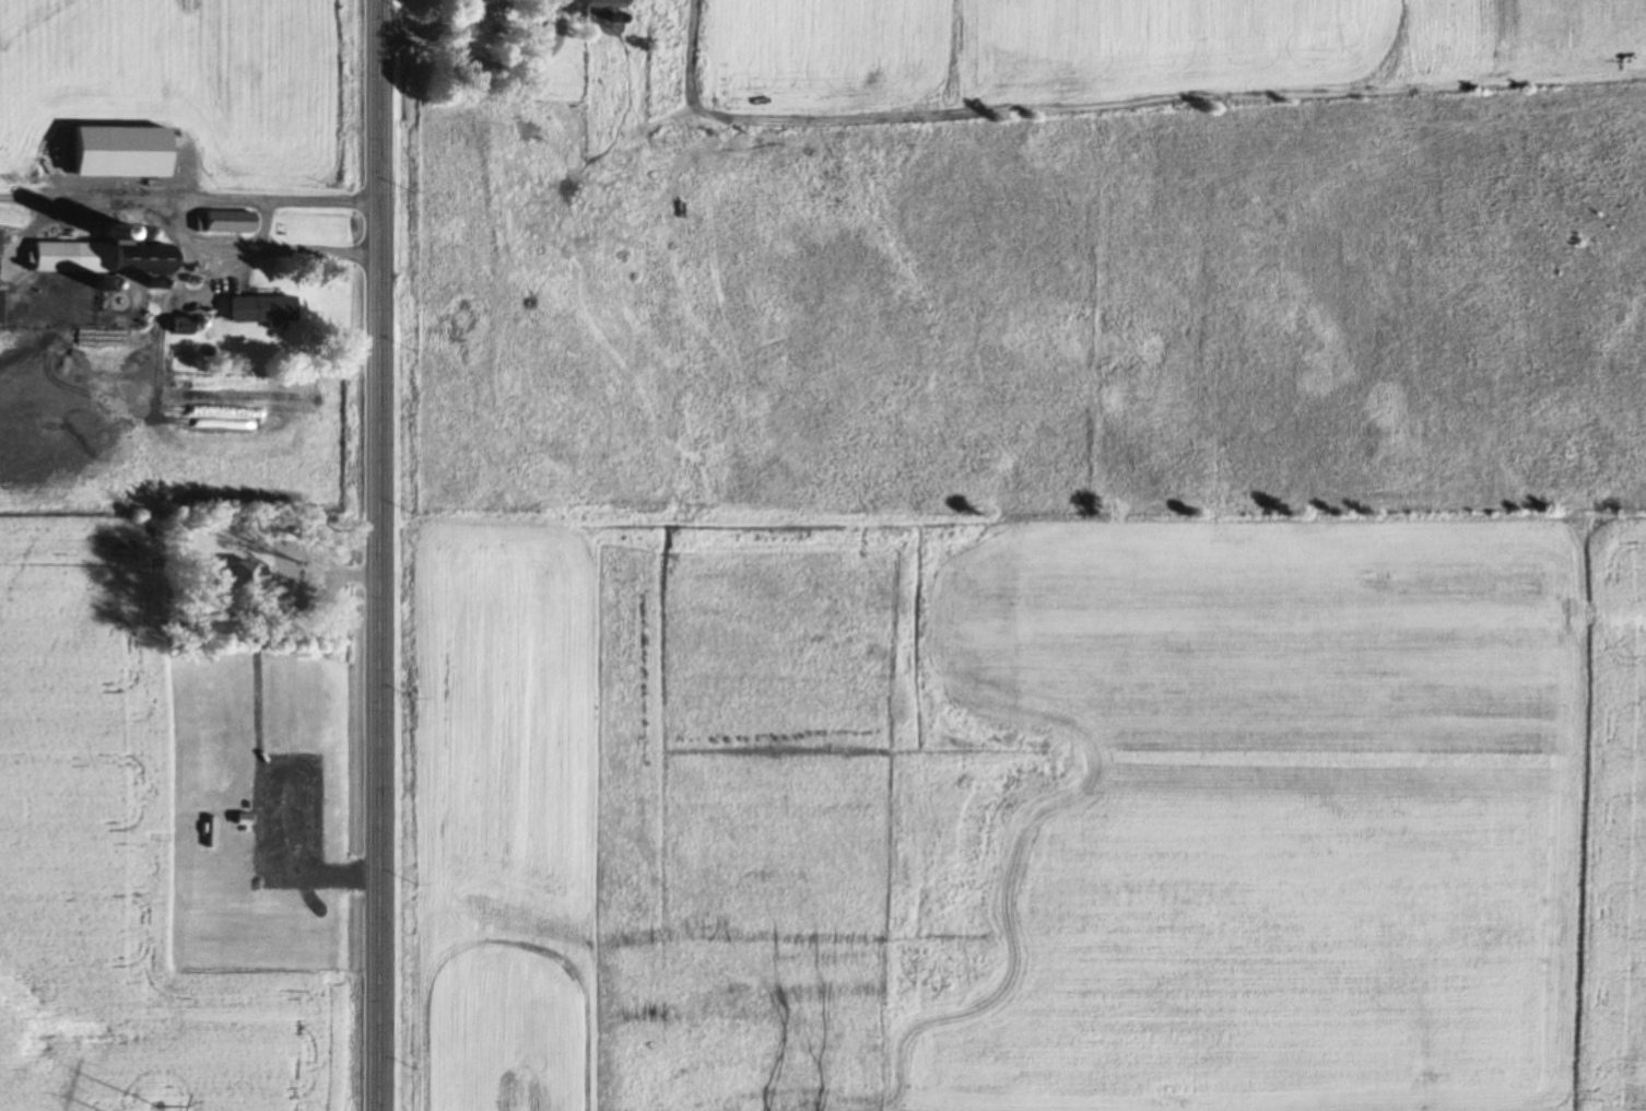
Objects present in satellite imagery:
building: (598, 3)
building: (116, 150)
building: (227, 220)
building: (98, 256)
building: (260, 308)
road: (381, 555)

